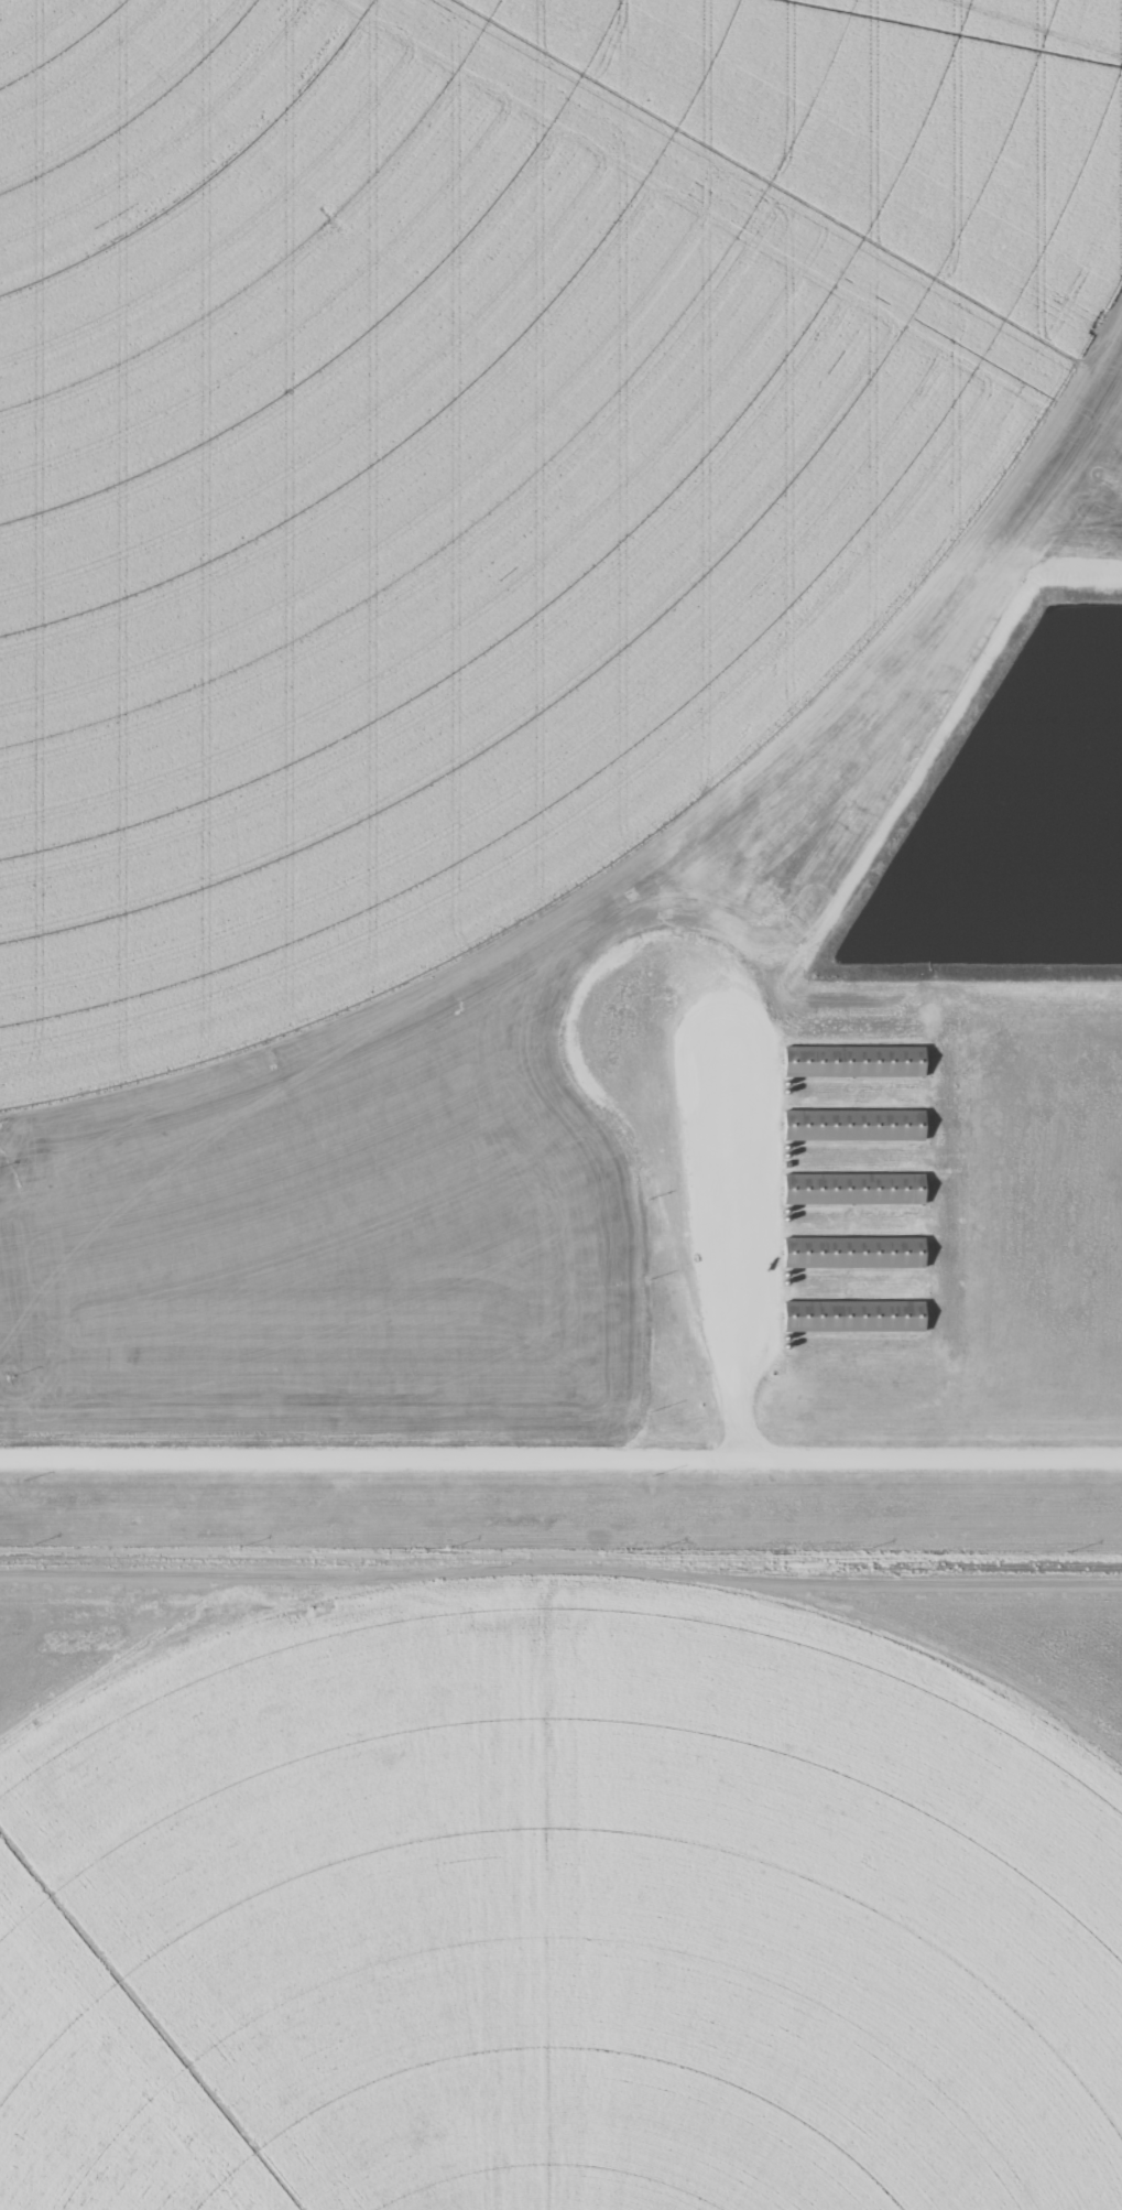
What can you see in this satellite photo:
building: (853, 1188)

